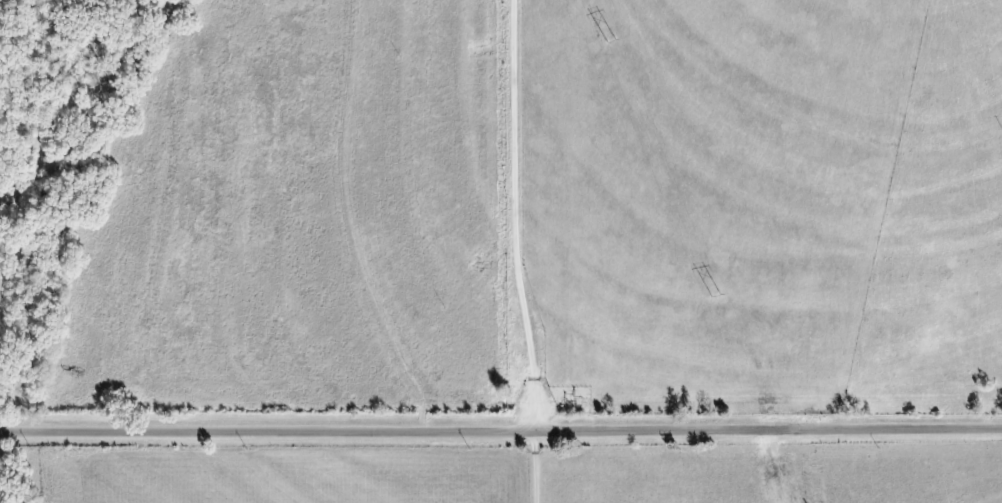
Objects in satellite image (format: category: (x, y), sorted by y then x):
power tower: (611, 42)
road: (342, 220)
power tower: (715, 299)
road: (501, 425)
road: (529, 464)

